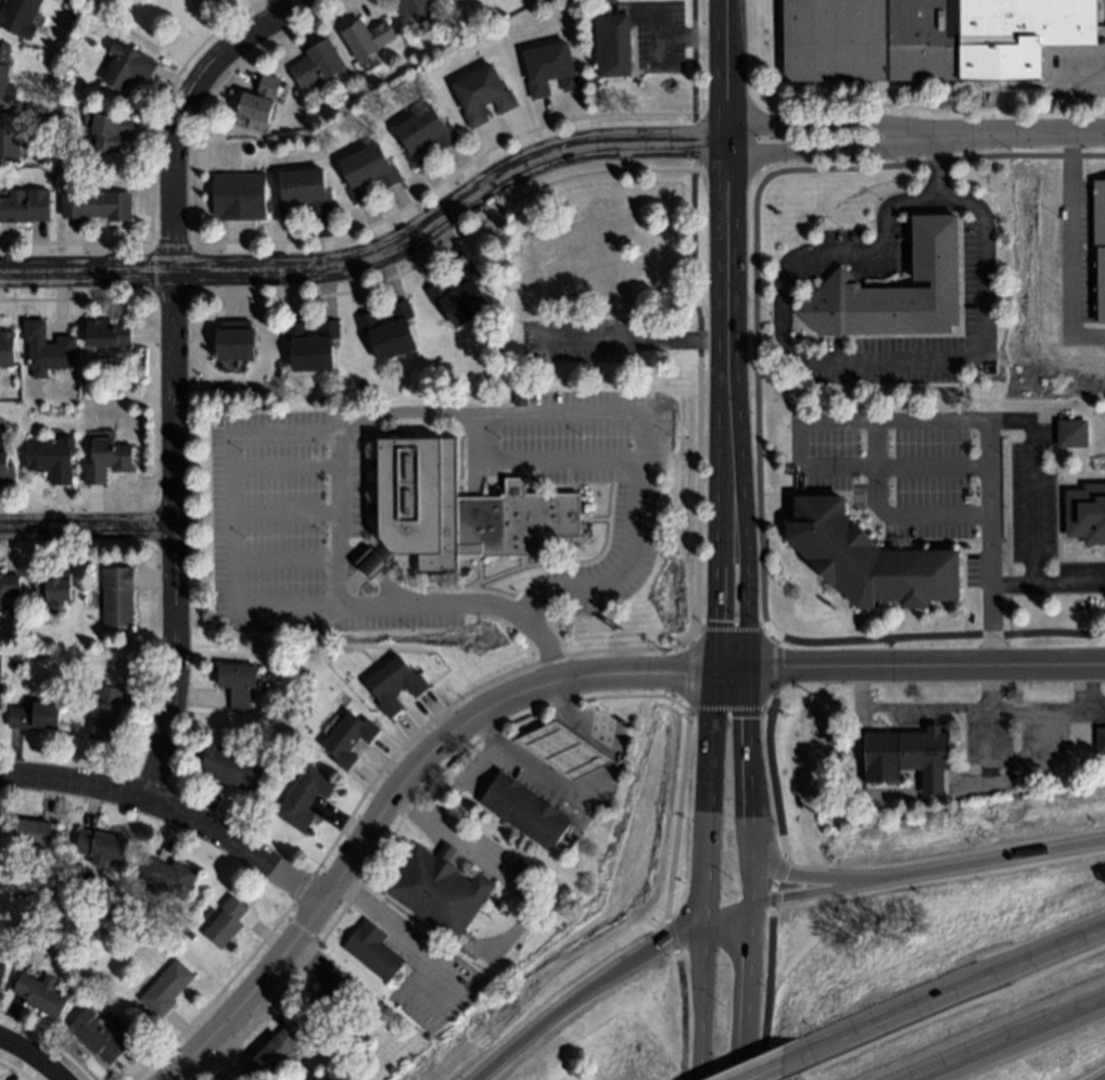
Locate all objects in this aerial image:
building: (211, 1)
building: (409, 5)
building: (20, 14)
building: (1101, 22)
park: (155, 27)
building: (930, 37)
building: (366, 38)
building: (612, 46)
building: (69, 47)
building: (129, 65)
building: (316, 65)
building: (550, 69)
building: (5, 73)
building: (51, 88)
building: (482, 94)
building: (259, 100)
building: (112, 131)
building: (9, 135)
building: (424, 136)
road: (917, 138)
building: (367, 173)
road: (728, 183)
building: (302, 192)
building: (239, 196)
building: (97, 205)
building: (25, 206)
building: (1098, 215)
road: (1070, 247)
road: (378, 256)
building: (559, 275)
building: (894, 289)
building: (460, 296)
building: (536, 313)
building: (390, 332)
building: (107, 333)
building: (229, 339)
building: (251, 339)
building: (313, 345)
building: (7, 350)
building: (47, 350)
road: (867, 361)
road: (170, 371)
building: (364, 386)
building: (520, 399)
road: (758, 404)
road: (475, 416)
road: (953, 420)
building: (1074, 432)
building: (51, 459)
building: (106, 459)
building: (5, 470)
building: (457, 511)
building: (1087, 512)
road: (87, 528)
road: (697, 542)
road: (993, 542)
building: (871, 560)
road: (1049, 585)
building: (9, 586)
building: (59, 586)
building: (118, 596)
road: (749, 611)
road: (719, 647)
building: (16, 662)
road: (911, 665)
traffic signals: (752, 670)
traffic signals: (719, 671)
building: (239, 684)
building: (393, 684)
road: (992, 686)
road: (978, 708)
road: (731, 709)
road: (569, 710)
building: (107, 713)
building: (35, 716)
building: (350, 739)
building: (1100, 739)
road: (563, 748)
building: (564, 748)
road: (506, 750)
road: (463, 751)
building: (926, 757)
building: (232, 767)
road: (367, 790)
road: (395, 796)
building: (304, 797)
building: (525, 809)
road: (173, 810)
building: (33, 835)
road: (457, 841)
building: (103, 847)
road: (785, 859)
road: (981, 864)
building: (169, 877)
road: (804, 878)
road: (755, 881)
building: (439, 888)
road: (806, 894)
road: (731, 917)
building: (225, 922)
road: (390, 925)
building: (17, 928)
building: (189, 932)
building: (373, 951)
building: (2, 965)
building: (166, 989)
road: (583, 991)
building: (41, 994)
road: (751, 994)
road: (278, 995)
building: (326, 996)
road: (956, 996)
road: (703, 1002)
building: (98, 1037)
road: (1011, 1039)
building: (272, 1055)
road: (33, 1056)
building: (392, 1069)
road: (784, 1069)
road: (1098, 1076)

